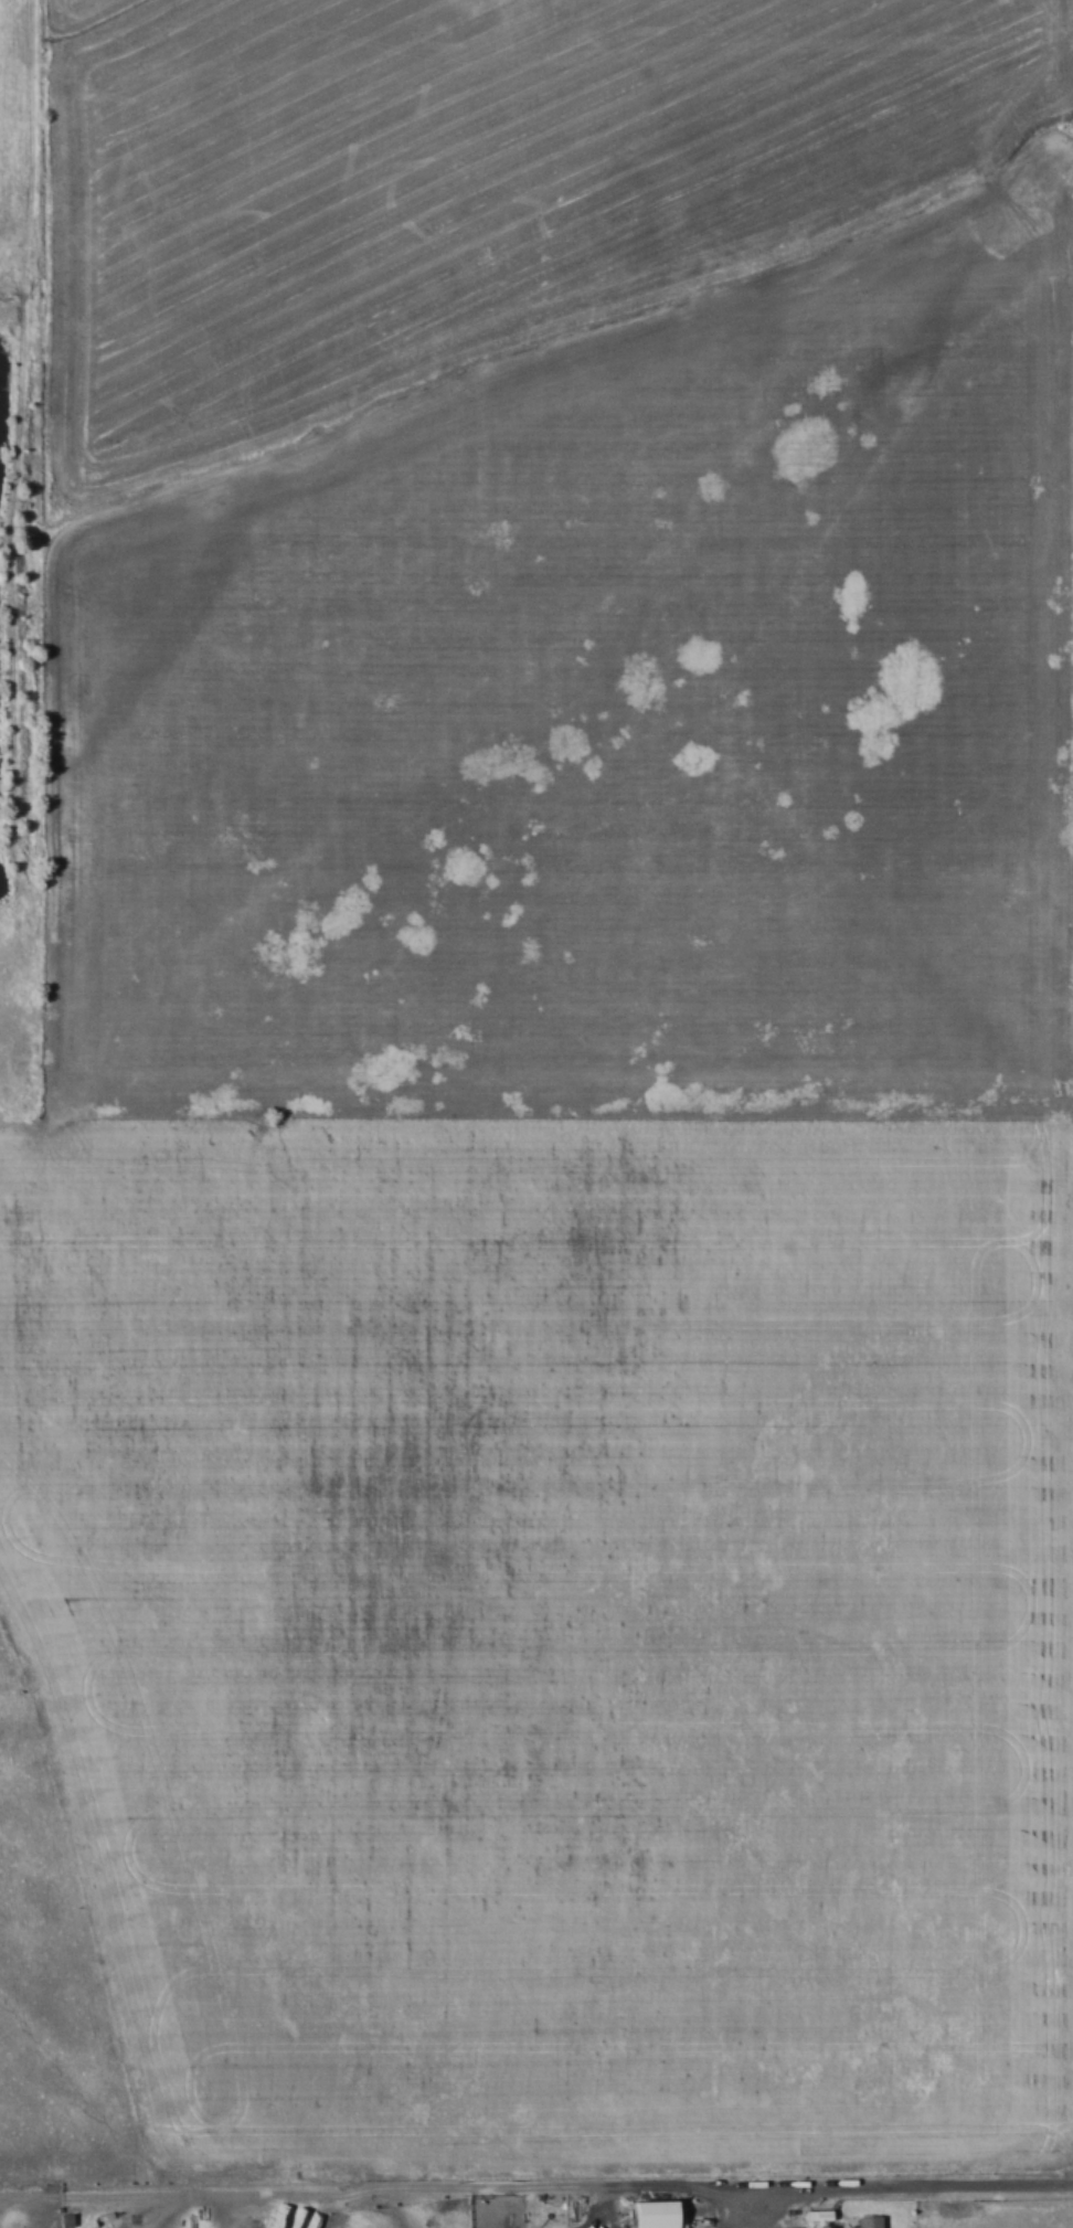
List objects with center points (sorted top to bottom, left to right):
road: (905, 2184)
building: (657, 2214)
building: (867, 2221)

